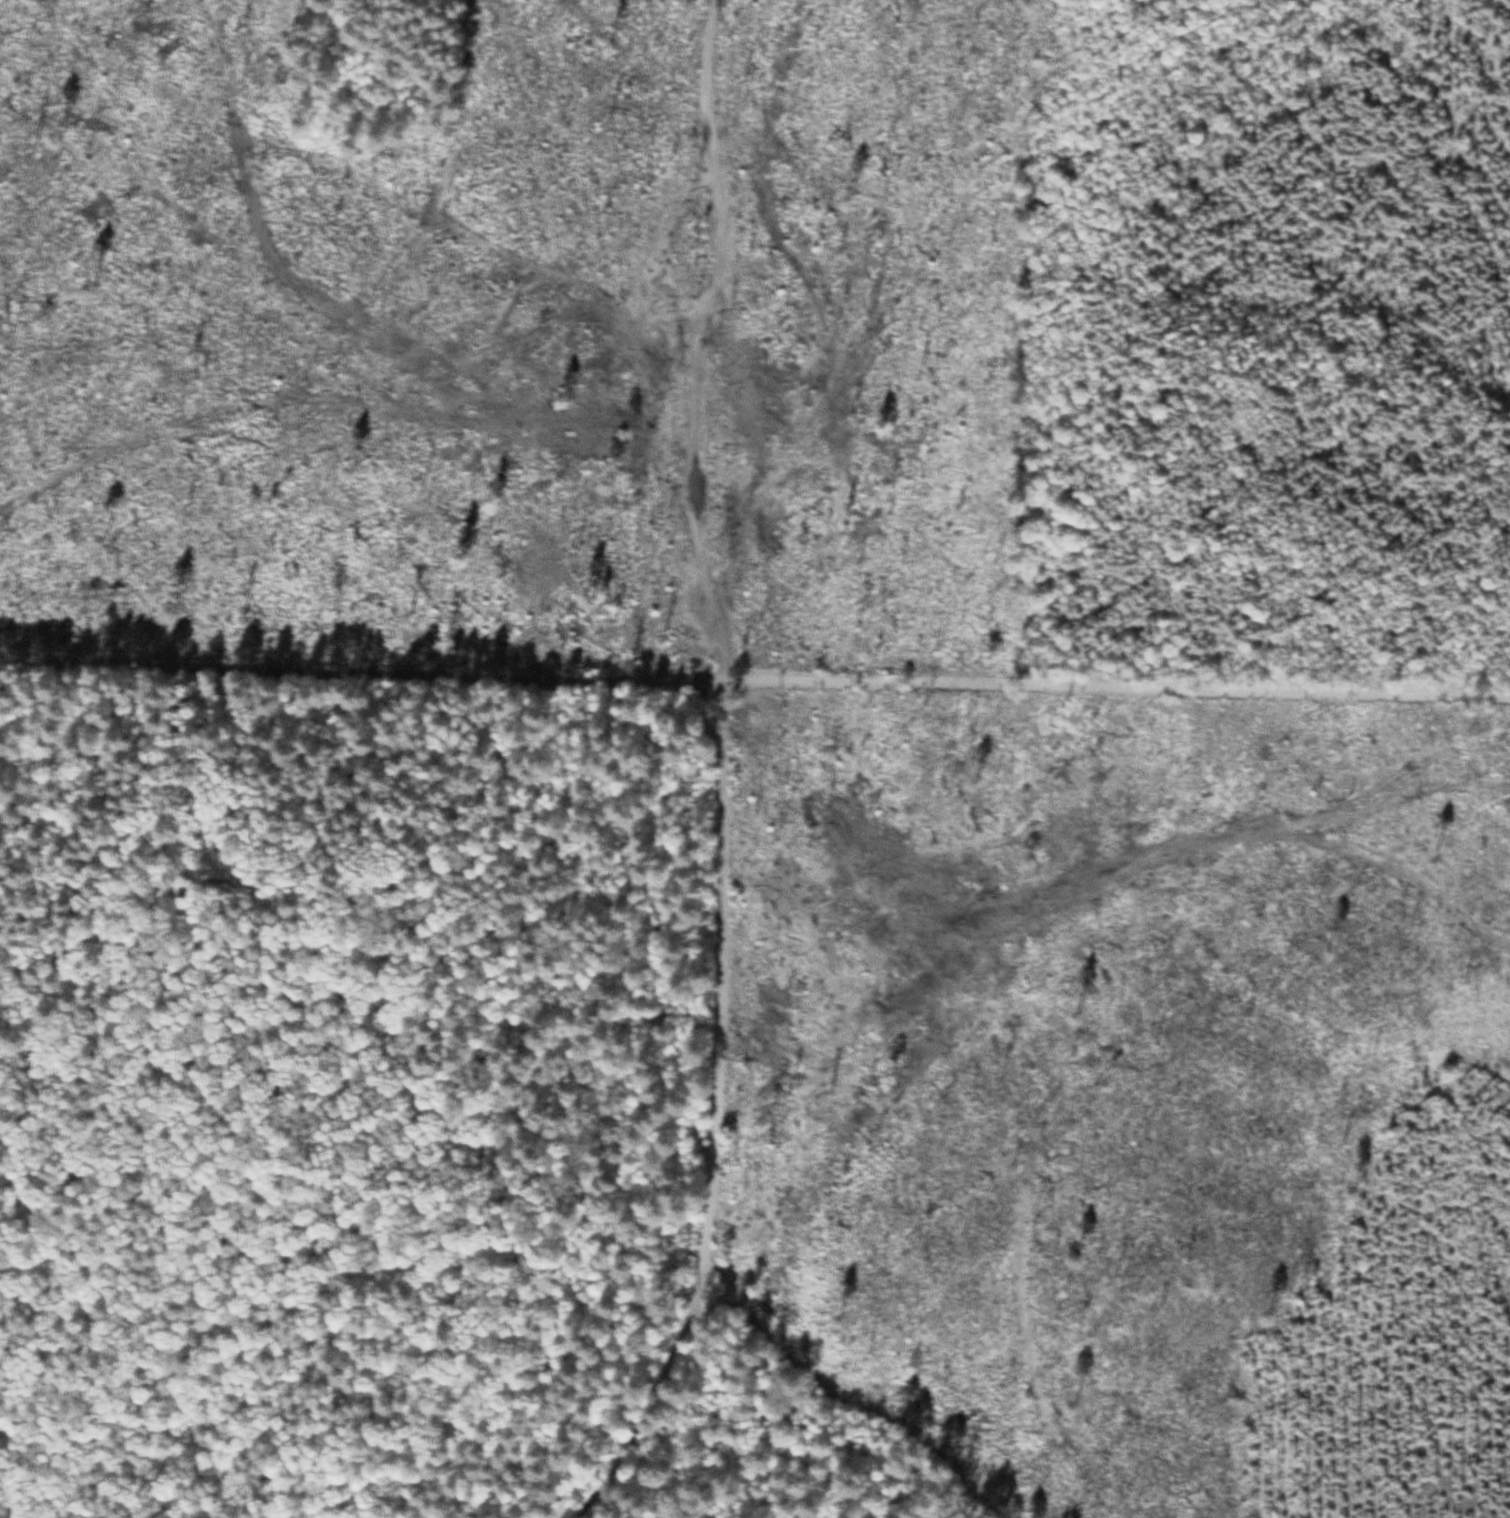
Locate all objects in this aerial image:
road: (635, 337)
road: (754, 680)
road: (717, 1115)
road: (846, 1403)

